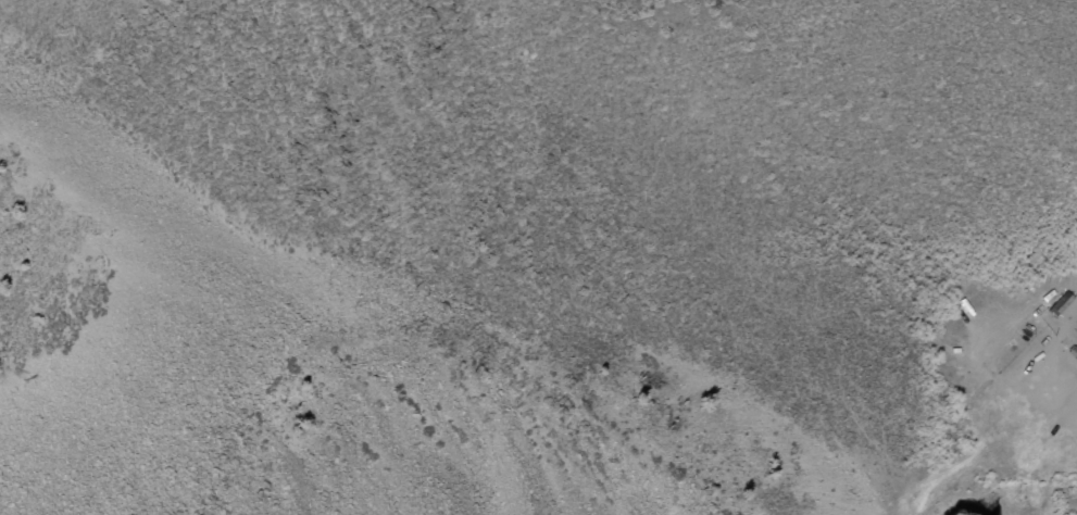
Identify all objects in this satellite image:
road: (781, 164)
road: (1025, 393)

